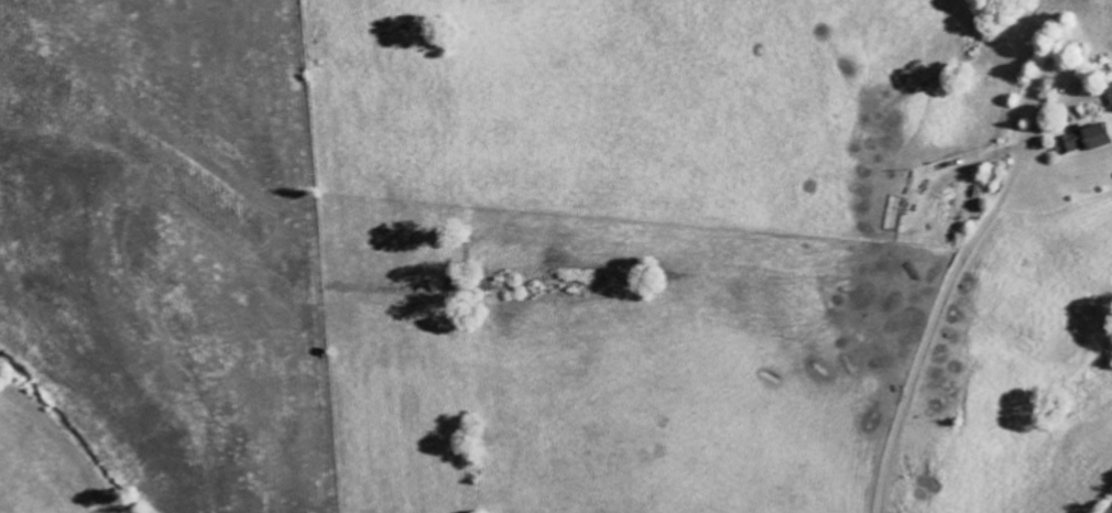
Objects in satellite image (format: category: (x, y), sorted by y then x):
building: (1084, 141)
road: (1111, 512)

